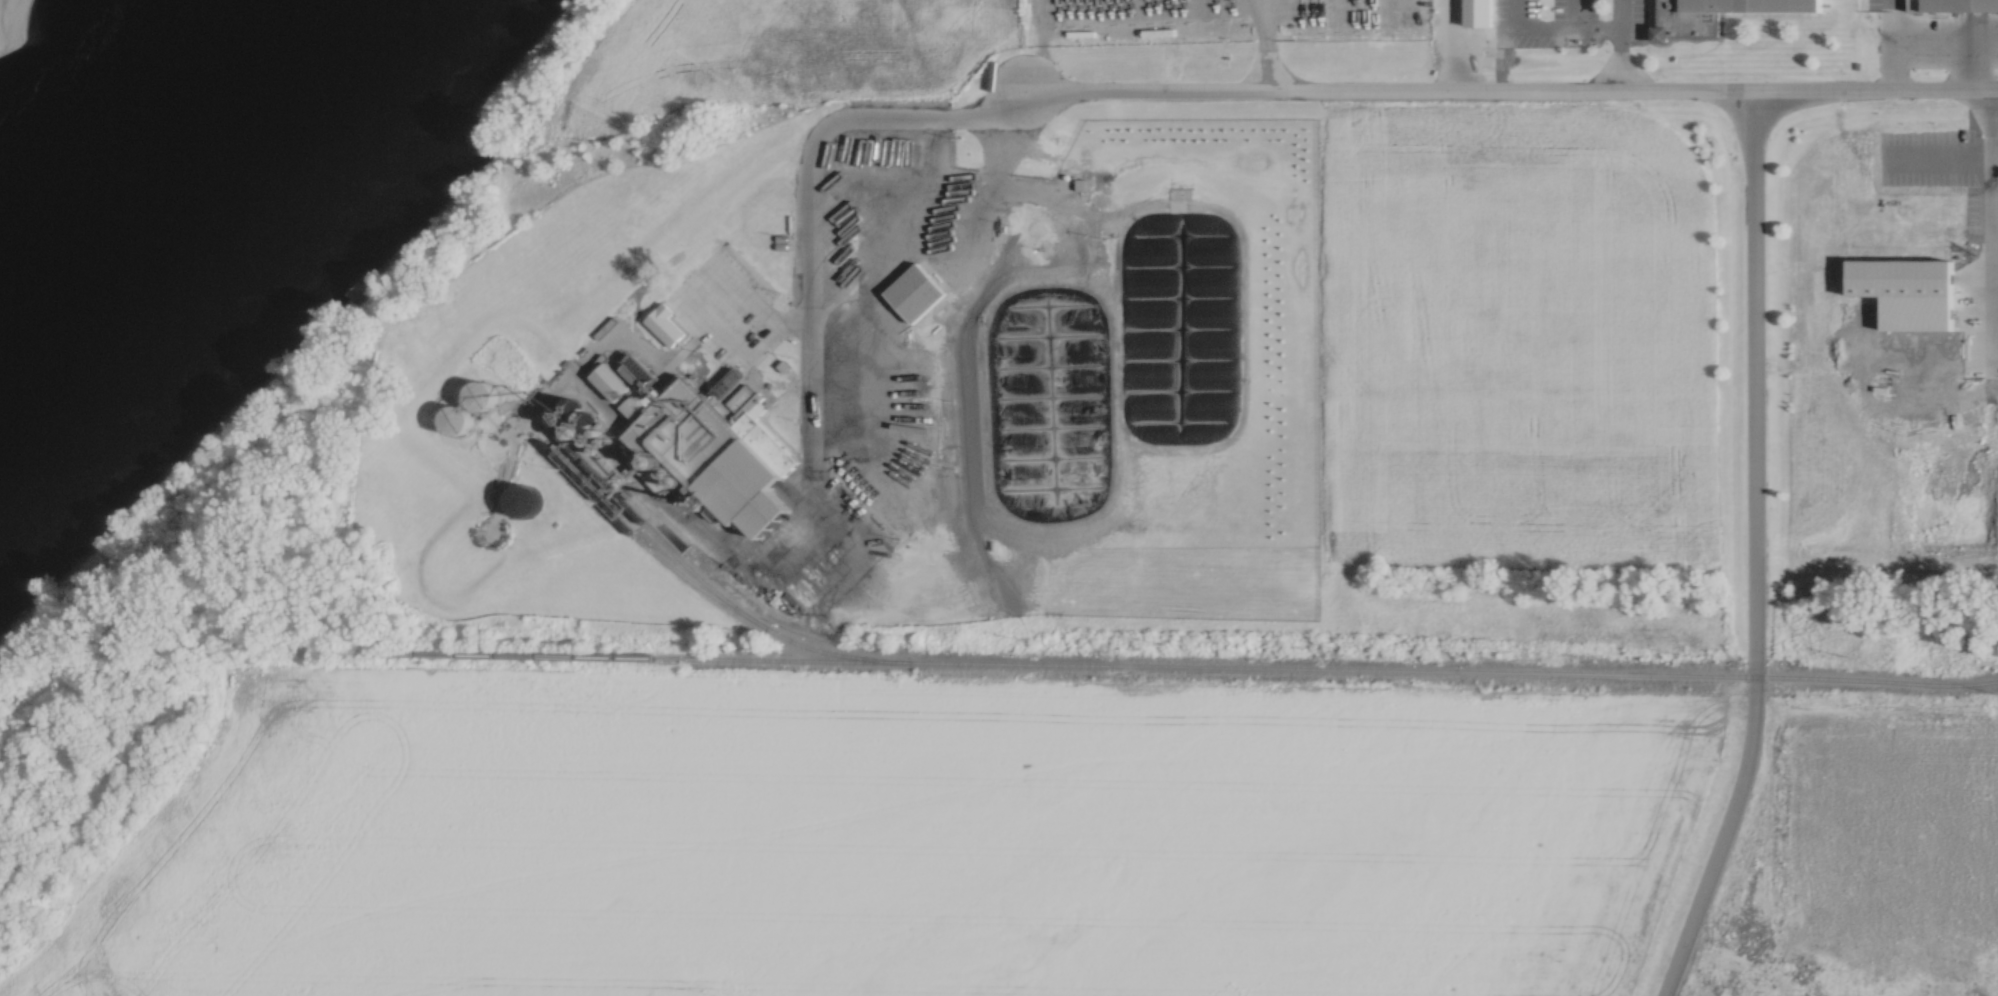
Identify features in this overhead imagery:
building: (1961, 4)
building: (1758, 5)
road: (1265, 44)
road: (1618, 44)
road: (1929, 52)
road: (1509, 88)
road: (920, 118)
river: (145, 159)
road: (1989, 229)
road: (1993, 284)
building: (916, 290)
building: (1899, 303)
building: (467, 417)
road: (806, 430)
building: (706, 446)
building: (522, 498)
road: (1757, 550)
railway: (736, 616)
railway: (1167, 668)

